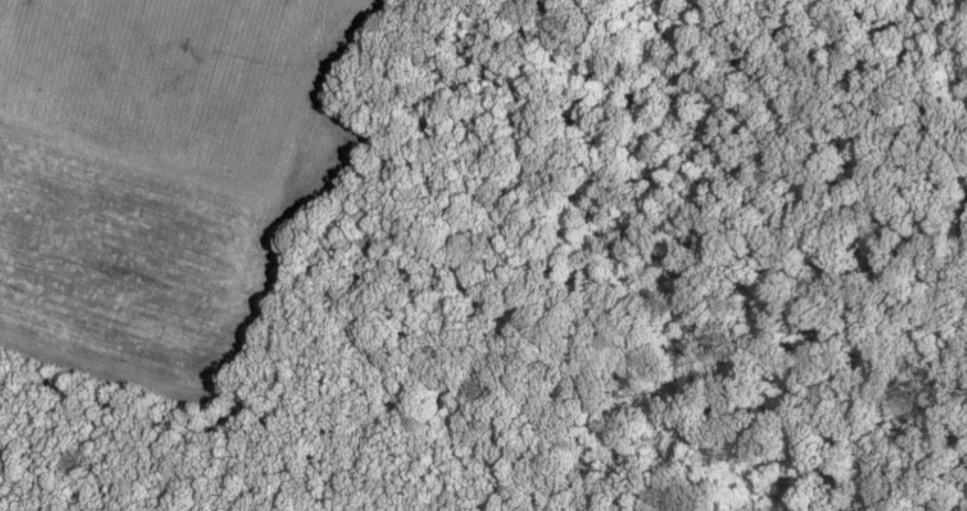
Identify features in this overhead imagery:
road: (305, 299)

